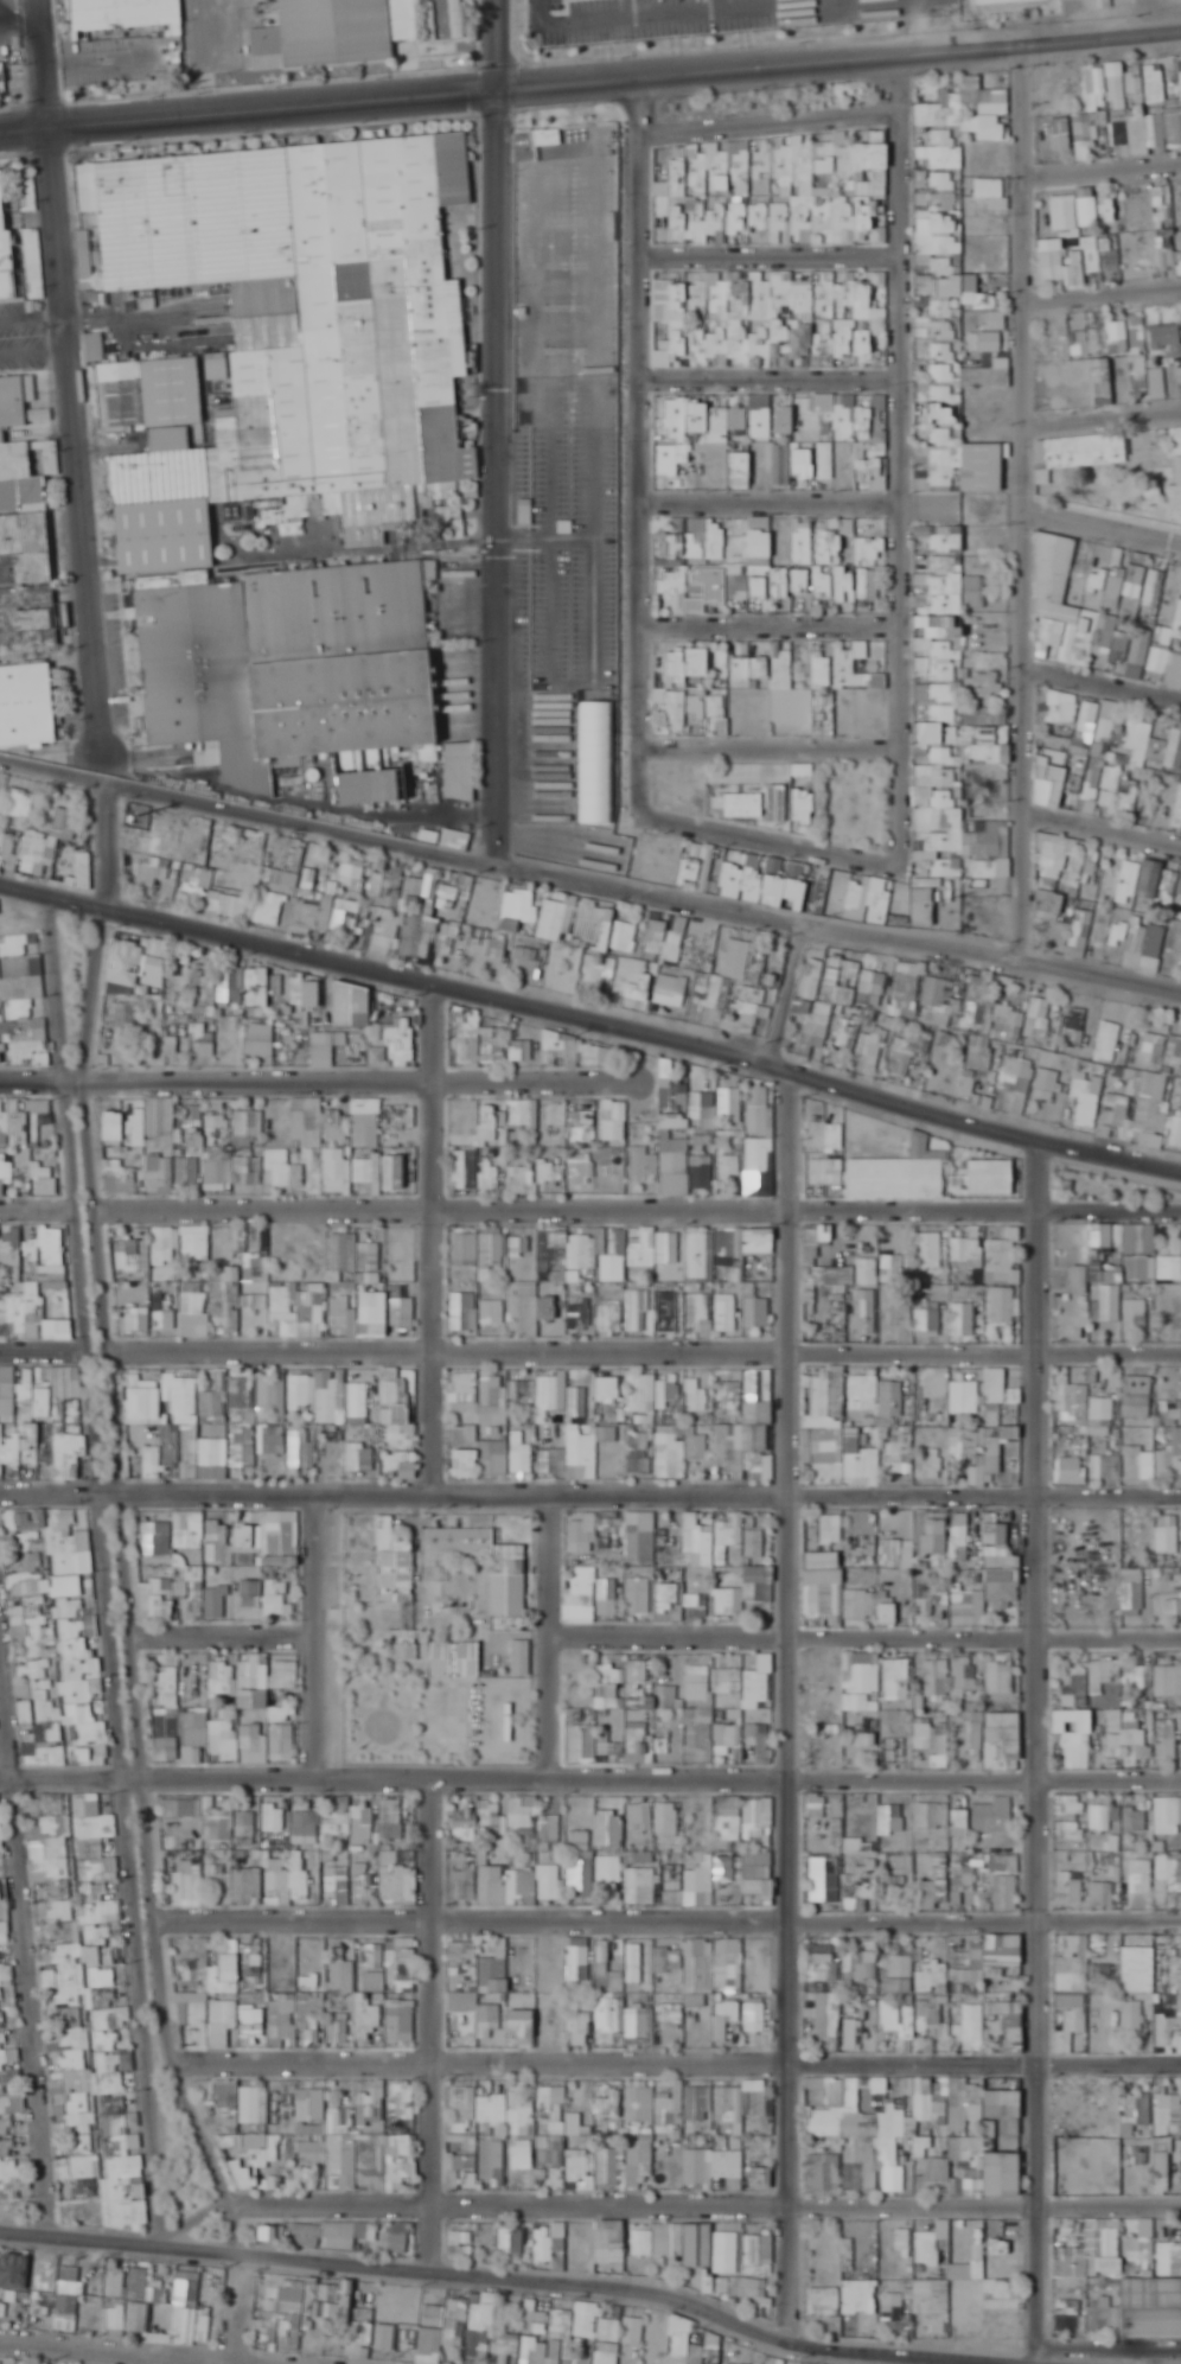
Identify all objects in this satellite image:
building: (990, 0)
road: (717, 7)
building: (123, 13)
road: (920, 23)
building: (341, 30)
road: (1099, 32)
building: (2, 77)
road: (532, 77)
building: (1174, 78)
building: (1106, 81)
building: (1154, 83)
road: (766, 120)
building: (944, 121)
building: (992, 123)
road: (25, 125)
building: (1060, 126)
building: (1083, 126)
building: (1172, 129)
building: (1131, 138)
building: (940, 157)
building: (738, 158)
building: (773, 160)
road: (1099, 165)
building: (870, 168)
building: (719, 183)
building: (817, 192)
building: (939, 192)
building: (1109, 209)
building: (1074, 211)
building: (689, 212)
building: (135, 228)
building: (934, 229)
building: (1166, 232)
building: (4, 247)
road: (767, 254)
building: (1091, 257)
building: (1049, 259)
road: (1100, 289)
building: (955, 294)
building: (736, 317)
building: (987, 320)
building: (843, 323)
building: (943, 330)
building: (1164, 338)
building: (863, 342)
building: (988, 342)
building: (1081, 343)
building: (96, 346)
building: (1130, 346)
building: (943, 370)
road: (767, 374)
building: (1100, 374)
road: (71, 377)
building: (984, 377)
building: (318, 383)
building: (941, 394)
building: (18, 403)
building: (939, 415)
building: (696, 416)
road: (1100, 416)
building: (803, 418)
building: (738, 419)
building: (783, 420)
building: (760, 422)
building: (843, 423)
building: (869, 423)
building: (941, 433)
road: (497, 434)
building: (1175, 441)
road: (640, 442)
road: (895, 455)
building: (943, 457)
building: (800, 461)
building: (824, 463)
building: (982, 465)
building: (738, 469)
building: (870, 473)
road: (768, 496)
building: (1173, 497)
road: (1022, 506)
road: (1102, 518)
building: (13, 535)
building: (759, 541)
building: (687, 544)
building: (467, 553)
building: (1117, 561)
building: (1054, 572)
building: (832, 581)
building: (868, 585)
building: (1113, 587)
building: (1154, 587)
building: (975, 592)
road: (767, 618)
building: (291, 662)
road: (1102, 678)
building: (26, 703)
road: (767, 744)
road: (1102, 824)
road: (767, 842)
road: (106, 847)
road: (589, 888)
road: (56, 990)
road: (786, 1002)
road: (590, 1025)
road: (216, 1084)
road: (538, 1084)
road: (639, 1205)
road: (38, 1206)
road: (432, 1242)
road: (44, 1350)
road: (645, 1353)
road: (215, 1497)
road: (805, 1500)
road: (129, 1588)
road: (317, 1636)
road: (553, 1636)
road: (110, 1665)
road: (790, 1710)
road: (1038, 1753)
road: (26, 1925)

